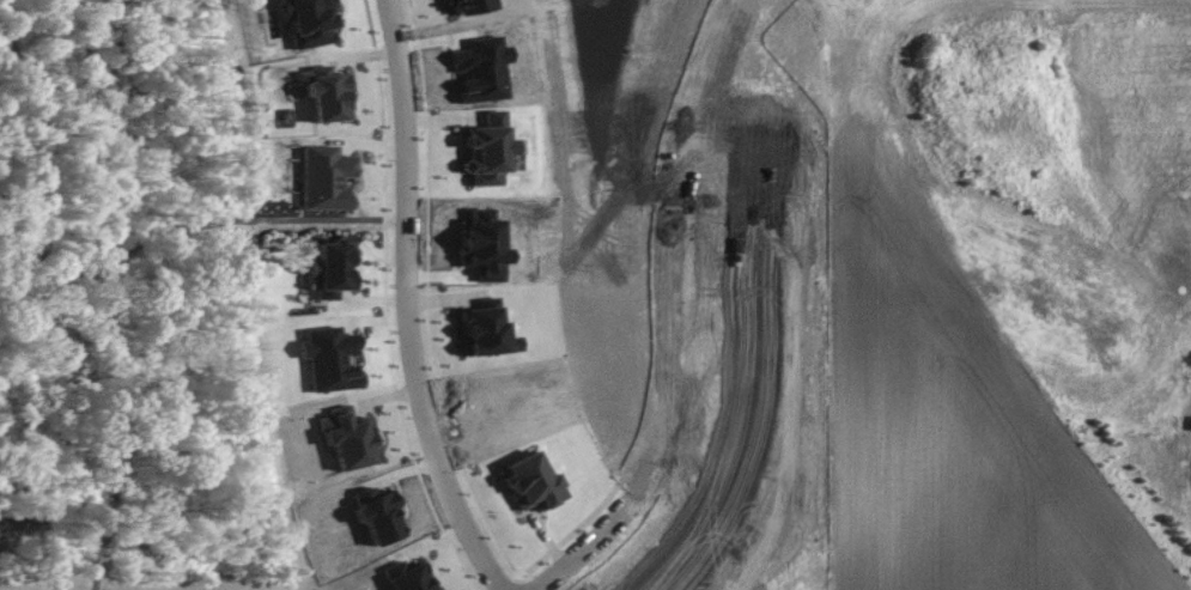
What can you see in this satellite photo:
building: (332, 268)
road: (408, 304)
road: (677, 314)
building: (329, 358)
crop: (947, 431)
building: (530, 482)

